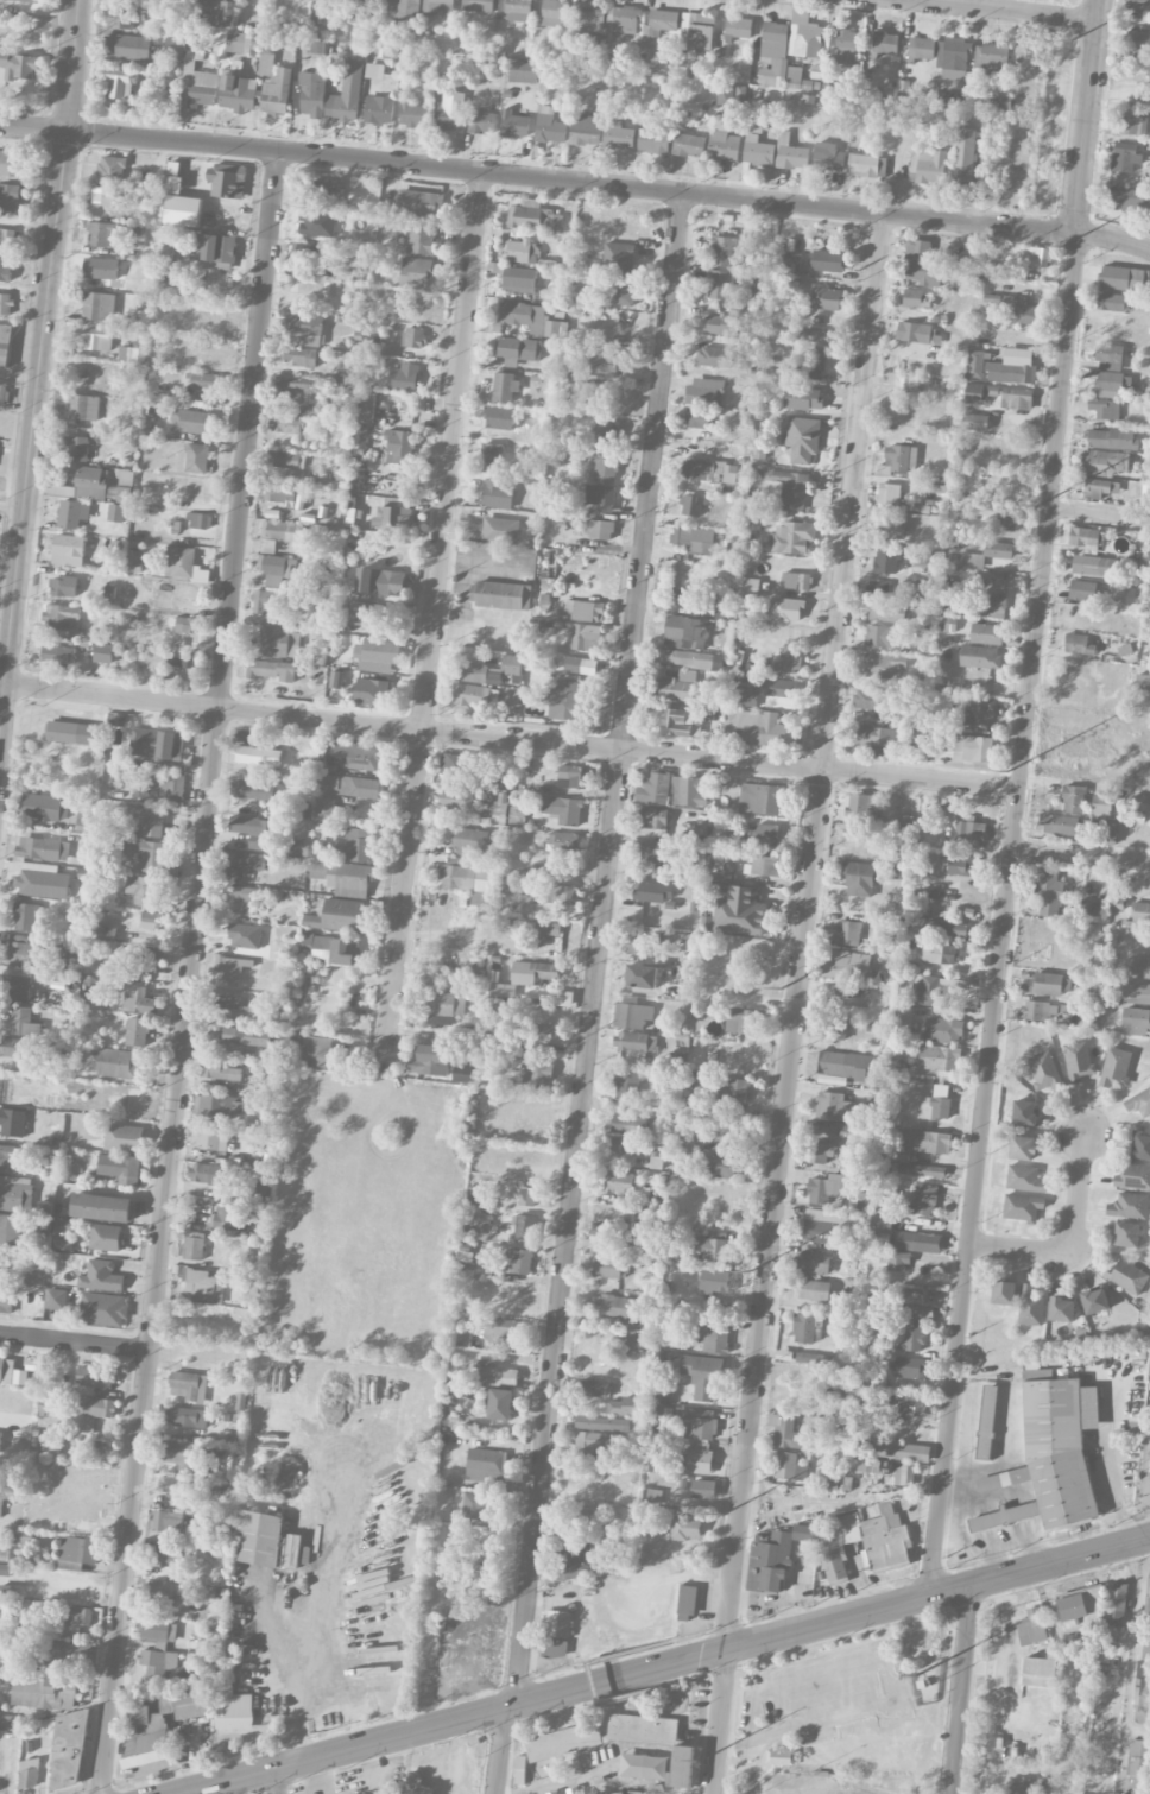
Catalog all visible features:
building: (21, 0)
building: (219, 0)
building: (298, 0)
building: (331, 1)
building: (200, 2)
building: (364, 2)
building: (1140, 2)
building: (478, 6)
building: (442, 7)
building: (402, 10)
building: (514, 10)
road: (1003, 10)
building: (555, 13)
building: (223, 14)
building: (119, 17)
building: (593, 17)
building: (625, 21)
building: (661, 23)
building: (737, 29)
building: (696, 33)
building: (804, 34)
power tower: (1076, 38)
building: (1137, 40)
building: (241, 43)
building: (885, 43)
building: (847, 45)
building: (127, 48)
building: (921, 49)
building: (773, 53)
building: (953, 58)
building: (992, 59)
building: (266, 64)
road: (71, 65)
building: (18, 67)
building: (374, 71)
building: (1149, 71)
building: (523, 72)
building: (794, 77)
building: (198, 83)
building: (120, 84)
building: (277, 93)
building: (238, 94)
building: (310, 94)
building: (346, 94)
building: (725, 95)
building: (993, 102)
building: (379, 110)
building: (450, 112)
building: (412, 114)
road: (1087, 116)
building: (482, 122)
building: (514, 125)
building: (1133, 125)
building: (549, 126)
building: (754, 126)
road: (33, 128)
building: (586, 130)
building: (619, 135)
building: (722, 140)
building: (653, 141)
building: (688, 145)
building: (758, 152)
building: (790, 153)
building: (963, 156)
building: (828, 157)
building: (1124, 158)
building: (11, 164)
building: (867, 165)
building: (927, 166)
building: (110, 169)
road: (570, 179)
building: (227, 181)
building: (173, 184)
building: (105, 195)
building: (8, 197)
building: (1131, 200)
building: (419, 204)
building: (533, 216)
building: (105, 235)
building: (7, 238)
building: (421, 238)
road: (1112, 238)
power tower: (1061, 246)
building: (216, 248)
building: (307, 251)
building: (520, 251)
building: (722, 251)
building: (619, 257)
building: (1036, 257)
building: (827, 260)
building: (790, 261)
building: (922, 264)
building: (5, 267)
building: (101, 269)
building: (415, 272)
building: (967, 278)
building: (1124, 278)
building: (519, 279)
building: (720, 285)
building: (625, 291)
building: (824, 298)
building: (916, 299)
building: (1112, 303)
building: (6, 304)
building: (97, 307)
building: (1022, 311)
building: (531, 318)
building: (722, 324)
building: (303, 329)
building: (917, 333)
building: (814, 336)
building: (413, 337)
building: (97, 340)
building: (518, 348)
building: (132, 352)
building: (301, 358)
building: (715, 358)
building: (1108, 358)
building: (605, 364)
building: (975, 364)
building: (813, 365)
building: (1012, 367)
road: (19, 377)
building: (404, 378)
building: (206, 381)
building: (1114, 381)
building: (504, 386)
building: (906, 386)
building: (706, 391)
building: (974, 392)
building: (4, 393)
building: (802, 397)
building: (303, 398)
building: (1016, 398)
building: (83, 408)
building: (367, 408)
building: (1105, 409)
building: (703, 419)
building: (190, 422)
building: (974, 423)
building: (285, 424)
road: (33, 429)
building: (606, 432)
building: (360, 437)
building: (1111, 438)
building: (803, 440)
building: (398, 447)
building: (77, 449)
building: (492, 455)
building: (196, 459)
building: (899, 459)
building: (286, 460)
building: (1105, 462)
building: (606, 468)
building: (709, 470)
building: (126, 478)
building: (89, 482)
building: (789, 488)
building: (1099, 488)
building: (889, 493)
building: (124, 494)
building: (277, 494)
building: (497, 494)
building: (600, 497)
building: (691, 505)
power tower: (1038, 508)
building: (72, 513)
building: (116, 513)
building: (394, 513)
road: (1099, 514)
building: (758, 518)
building: (1006, 519)
building: (200, 520)
building: (892, 525)
building: (500, 530)
building: (600, 530)
building: (282, 531)
building: (794, 537)
building: (1085, 538)
building: (694, 539)
building: (267, 547)
building: (68, 550)
building: (998, 550)
building: (885, 560)
building: (972, 561)
building: (134, 562)
building: (183, 564)
building: (1094, 566)
building: (273, 569)
building: (796, 581)
building: (380, 582)
building: (63, 587)
building: (748, 587)
building: (882, 589)
building: (1085, 590)
building: (500, 595)
building: (266, 604)
building: (991, 606)
building: (786, 609)
building: (587, 611)
building: (887, 612)
building: (365, 613)
building: (61, 618)
building: (947, 623)
road: (432, 624)
building: (188, 625)
building: (684, 633)
building: (986, 633)
building: (878, 636)
building: (586, 637)
building: (278, 643)
building: (1079, 645)
building: (103, 653)
building: (58, 655)
building: (374, 656)
building: (980, 657)
building: (183, 659)
building: (689, 659)
building: (788, 664)
building: (511, 665)
building: (580, 665)
building: (883, 665)
building: (272, 670)
building: (472, 672)
building: (493, 676)
building: (336, 680)
building: (677, 687)
building: (763, 690)
building: (372, 691)
building: (486, 696)
building: (870, 700)
building: (565, 701)
building: (979, 712)
building: (672, 721)
building: (758, 728)
building: (69, 732)
road: (511, 739)
building: (157, 744)
building: (973, 747)
power tower: (805, 751)
building: (259, 757)
building: (354, 757)
building: (460, 765)
power tower: (1007, 770)
building: (573, 777)
building: (170, 785)
building: (354, 787)
building: (252, 790)
building: (674, 790)
building: (760, 798)
building: (459, 800)
building: (1073, 800)
building: (1101, 804)
building: (44, 808)
building: (863, 808)
building: (303, 809)
building: (561, 809)
building: (324, 810)
building: (653, 819)
building: (86, 821)
building: (153, 823)
building: (1061, 825)
building: (258, 832)
building: (968, 832)
building: (1108, 833)
building: (764, 835)
building: (469, 842)
building: (564, 842)
building: (355, 846)
building: (297, 847)
building: (43, 848)
building: (652, 852)
building: (146, 854)
road: (1081, 855)
building: (765, 866)
building: (962, 866)
building: (318, 870)
building: (467, 874)
building: (227, 878)
building: (860, 878)
building: (350, 879)
building: (42, 882)
building: (145, 891)
building: (653, 892)
building: (562, 893)
building: (1050, 893)
building: (482, 899)
building: (1091, 907)
building: (738, 909)
building: (1139, 915)
building: (25, 916)
building: (339, 916)
road: (1004, 916)
building: (153, 921)
building: (946, 929)
road: (804, 930)
building: (548, 931)
building: (106, 933)
building: (848, 933)
building: (245, 936)
building: (884, 943)
building: (645, 946)
building: (72, 948)
building: (331, 949)
road: (596, 949)
building: (21, 950)
building: (939, 954)
building: (146, 958)
building: (845, 966)
building: (1137, 968)
building: (230, 969)
road: (189, 973)
building: (533, 973)
building: (58, 979)
building: (1045, 984)
building: (18, 987)
building: (929, 991)
power tower: (781, 992)
building: (1136, 993)
building: (852, 997)
building: (563, 998)
building: (138, 999)
building: (226, 999)
building: (444, 1006)
building: (1040, 1010)
building: (632, 1016)
building: (903, 1021)
building: (1135, 1021)
building: (23, 1022)
building: (744, 1022)
building: (836, 1028)
building: (943, 1030)
building: (137, 1031)
building: (545, 1032)
building: (246, 1036)
building: (636, 1044)
building: (14, 1048)
building: (316, 1051)
building: (939, 1059)
building: (430, 1060)
building: (1078, 1061)
building: (116, 1062)
building: (846, 1065)
building: (1114, 1066)
building: (219, 1070)
building: (1043, 1070)
building: (537, 1073)
building: (627, 1085)
building: (733, 1091)
building: (691, 1097)
building: (1139, 1103)
building: (216, 1106)
building: (834, 1107)
building: (934, 1110)
building: (1024, 1112)
building: (12, 1123)
building: (630, 1124)
building: (835, 1126)
building: (124, 1138)
building: (208, 1139)
building: (687, 1139)
building: (1140, 1143)
building: (609, 1144)
building: (917, 1145)
building: (1022, 1148)
building: (816, 1152)
building: (6, 1155)
building: (720, 1163)
building: (120, 1168)
building: (928, 1171)
building: (209, 1174)
building: (1132, 1176)
building: (1024, 1179)
building: (619, 1182)
building: (833, 1188)
building: (261, 1190)
road: (1079, 1193)
building: (15, 1194)
building: (529, 1196)
building: (923, 1200)
building: (1129, 1206)
building: (101, 1207)
building: (1022, 1207)
building: (228, 1218)
building: (882, 1224)
building: (64, 1226)
building: (826, 1226)
building: (524, 1227)
building: (10, 1230)
building: (606, 1231)
building: (1126, 1234)
building: (106, 1238)
building: (917, 1242)
building: (657, 1243)
building: (63, 1245)
building: (712, 1246)
building: (192, 1249)
road: (1019, 1250)
building: (1, 1259)
building: (517, 1261)
building: (898, 1262)
building: (815, 1263)
building: (608, 1268)
power tower: (751, 1270)
building: (101, 1276)
building: (1127, 1276)
building: (714, 1281)
building: (204, 1286)
building: (814, 1290)
building: (1004, 1293)
building: (914, 1294)
building: (33, 1295)
building: (56, 1299)
building: (6, 1301)
building: (1094, 1301)
building: (1030, 1306)
building: (615, 1307)
building: (103, 1309)
building: (1062, 1309)
building: (916, 1310)
building: (803, 1328)
building: (503, 1329)
building: (714, 1338)
building: (912, 1338)
road: (107, 1346)
building: (810, 1358)
building: (910, 1372)
building: (11, 1373)
building: (495, 1373)
building: (703, 1376)
building: (95, 1377)
building: (189, 1385)
building: (593, 1389)
building: (501, 1404)
building: (910, 1404)
building: (627, 1407)
building: (94, 1410)
building: (839, 1411)
building: (187, 1417)
building: (602, 1423)
building: (788, 1433)
building: (985, 1433)
building: (0, 1434)
building: (1055, 1447)
building: (592, 1448)
building: (902, 1451)
building: (184, 1455)
building: (695, 1459)
road: (1107, 1459)
building: (485, 1466)
building: (876, 1466)
building: (790, 1467)
building: (904, 1473)
building: (171, 1485)
building: (703, 1489)
building: (650, 1497)
building: (0, 1504)
building: (482, 1510)
power tower: (724, 1514)
building: (1004, 1516)
building: (583, 1520)
building: (166, 1522)
building: (685, 1528)
building: (259, 1537)
building: (886, 1540)
building: (78, 1549)
building: (165, 1554)
building: (770, 1555)
building: (5, 1569)
building: (479, 1584)
building: (1148, 1593)
building: (158, 1594)
building: (1118, 1597)
building: (687, 1602)
building: (1079, 1609)
building: (78, 1617)
building: (2, 1619)
building: (556, 1624)
building: (1031, 1626)
building: (157, 1629)
road: (700, 1634)
road: (1009, 1645)
building: (554, 1649)
building: (63, 1654)
road: (1132, 1656)
building: (158, 1662)
road: (666, 1666)
road: (987, 1667)
building: (1040, 1673)
road: (701, 1676)
road: (890, 1680)
road: (593, 1681)
road: (961, 1691)
building: (44, 1693)
building: (232, 1700)
road: (718, 1722)
building: (7, 1724)
building: (162, 1724)
building: (643, 1729)
building: (70, 1732)
building: (585, 1736)
building: (543, 1748)
building: (1139, 1748)
road: (499, 1752)
building: (781, 1757)
power tower: (700, 1761)
building: (682, 1768)
building: (29, 1774)
building: (1139, 1774)
road: (278, 1781)
building: (1022, 1788)
building: (574, 1792)

